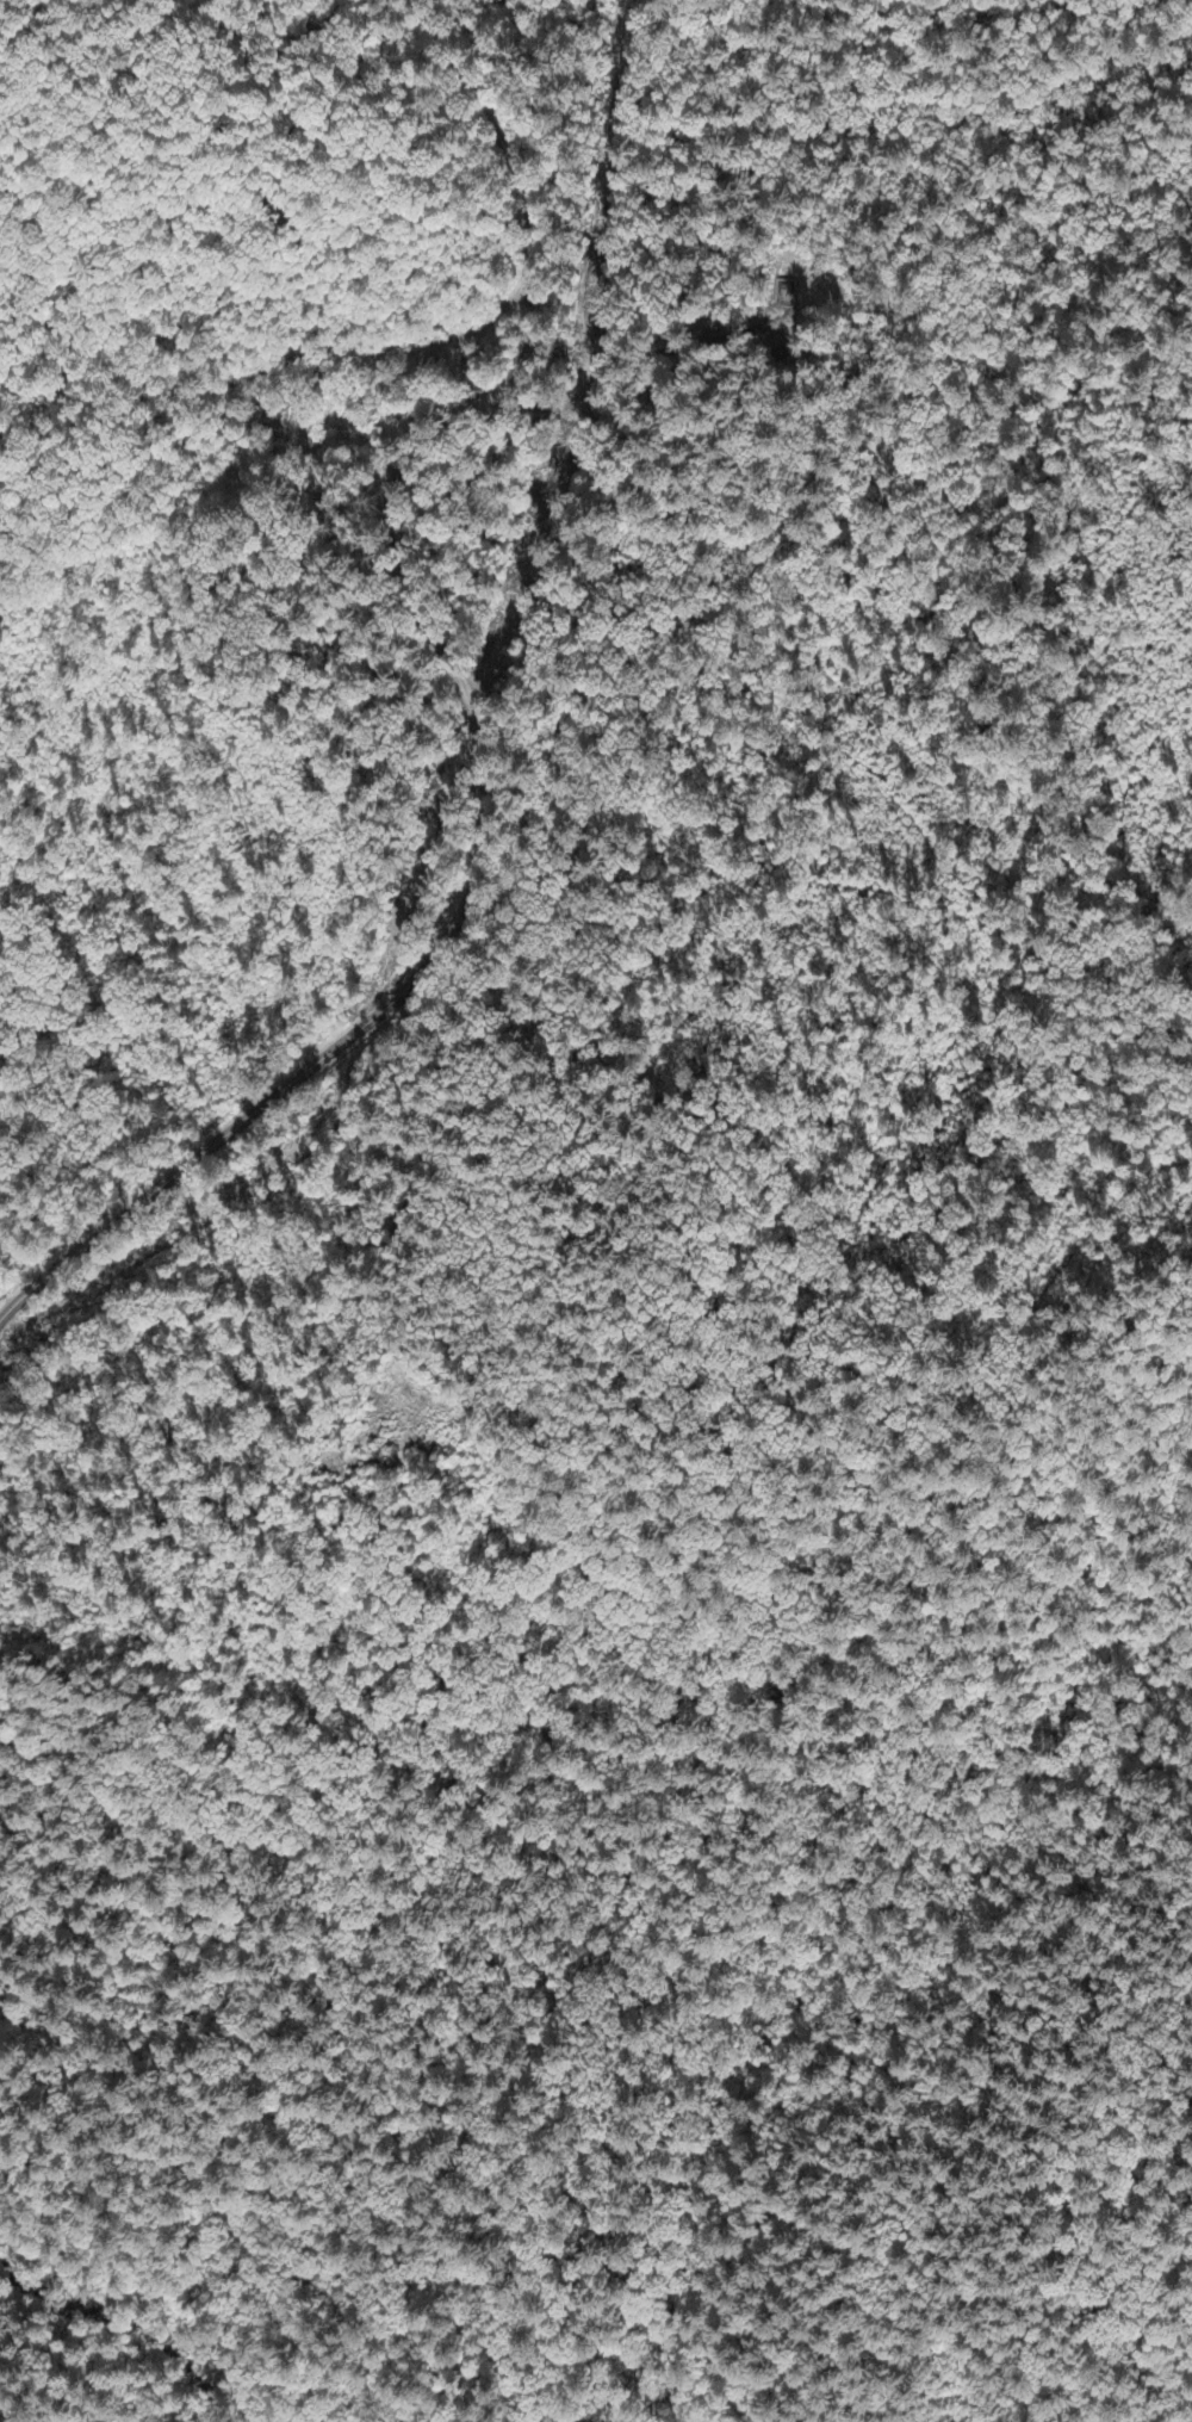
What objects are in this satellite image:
road: (401, 464)
road: (200, 1147)

